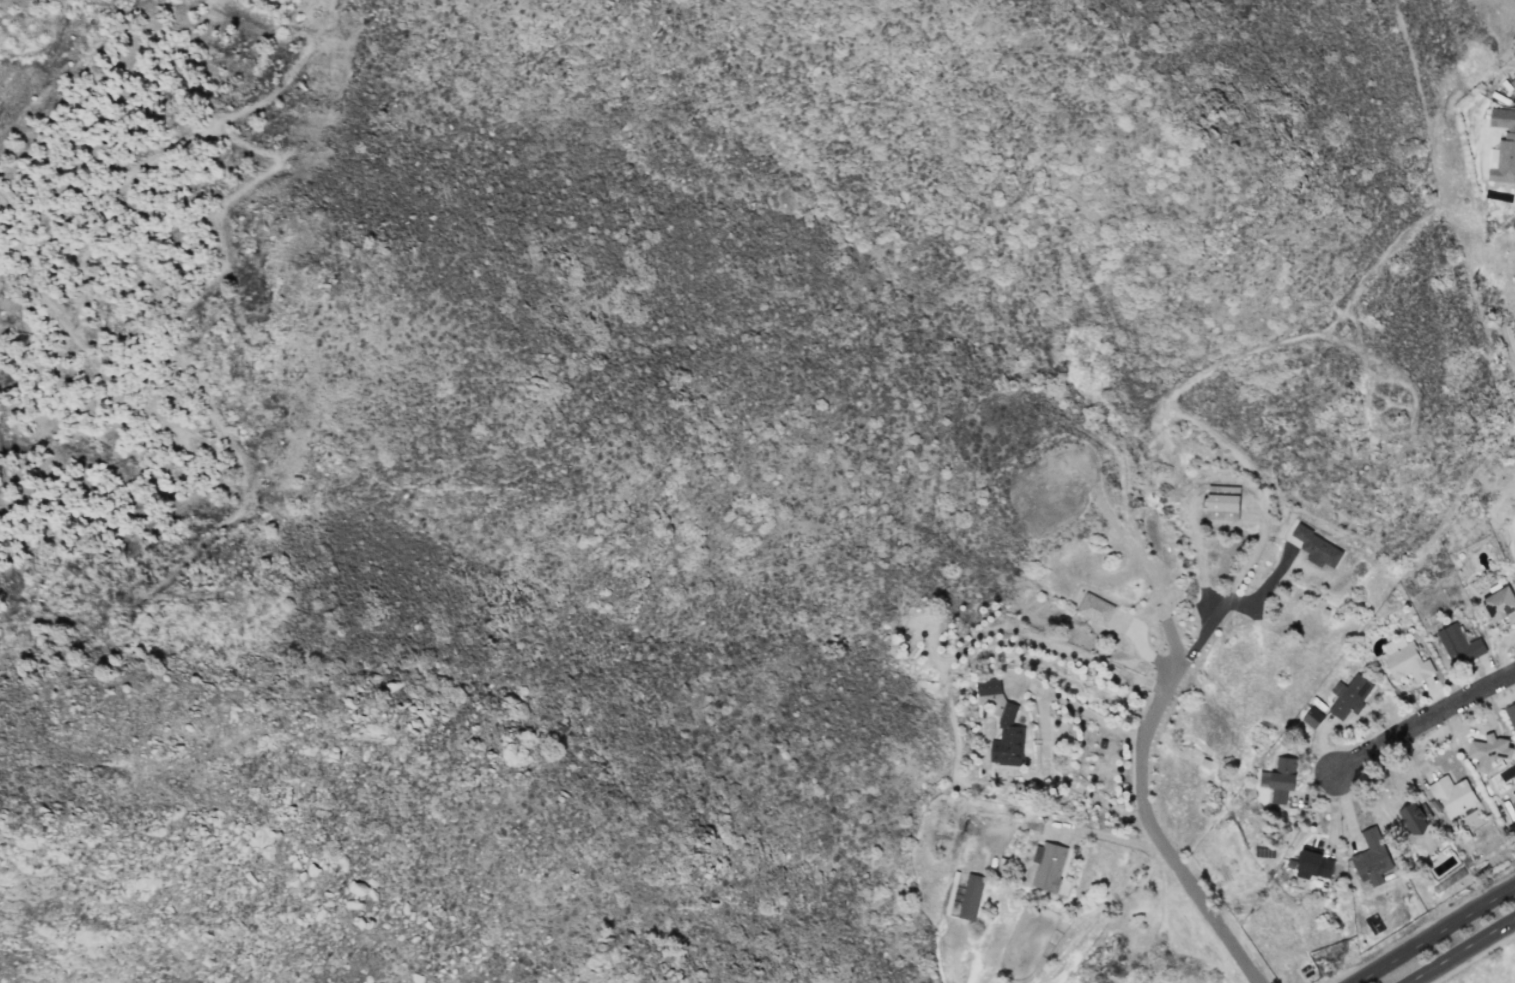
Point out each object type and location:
building: (1503, 145)
building: (1222, 502)
building: (1315, 546)
building: (1499, 603)
building: (1094, 608)
road: (1210, 620)
building: (1459, 644)
building: (1404, 659)
building: (1349, 696)
building: (1511, 714)
building: (1312, 717)
road: (1424, 720)
building: (1001, 724)
road: (1041, 729)
building: (1488, 751)
building: (1281, 778)
building: (1452, 795)
building: (1413, 817)
building: (1371, 857)
building: (1047, 865)
building: (1313, 865)
road: (1181, 872)
building: (970, 896)
road: (1432, 932)
road: (1458, 950)

